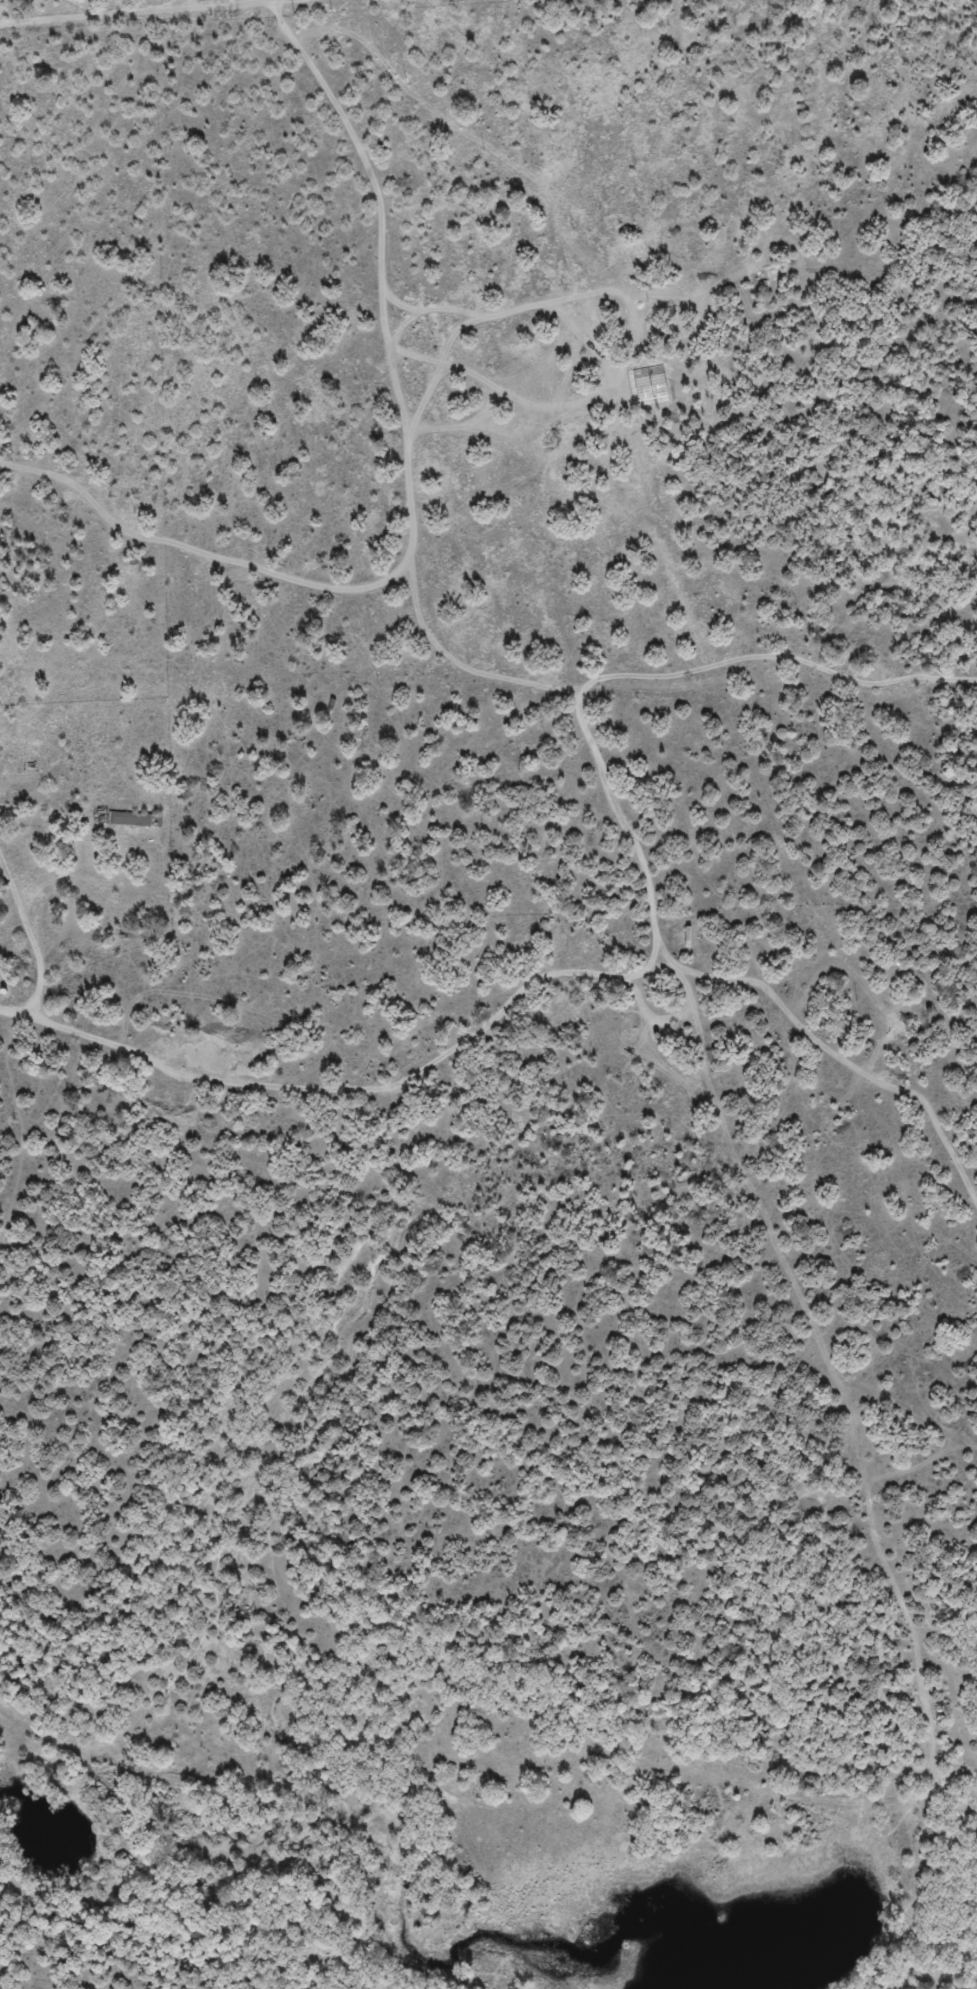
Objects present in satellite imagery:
building: (129, 820)

